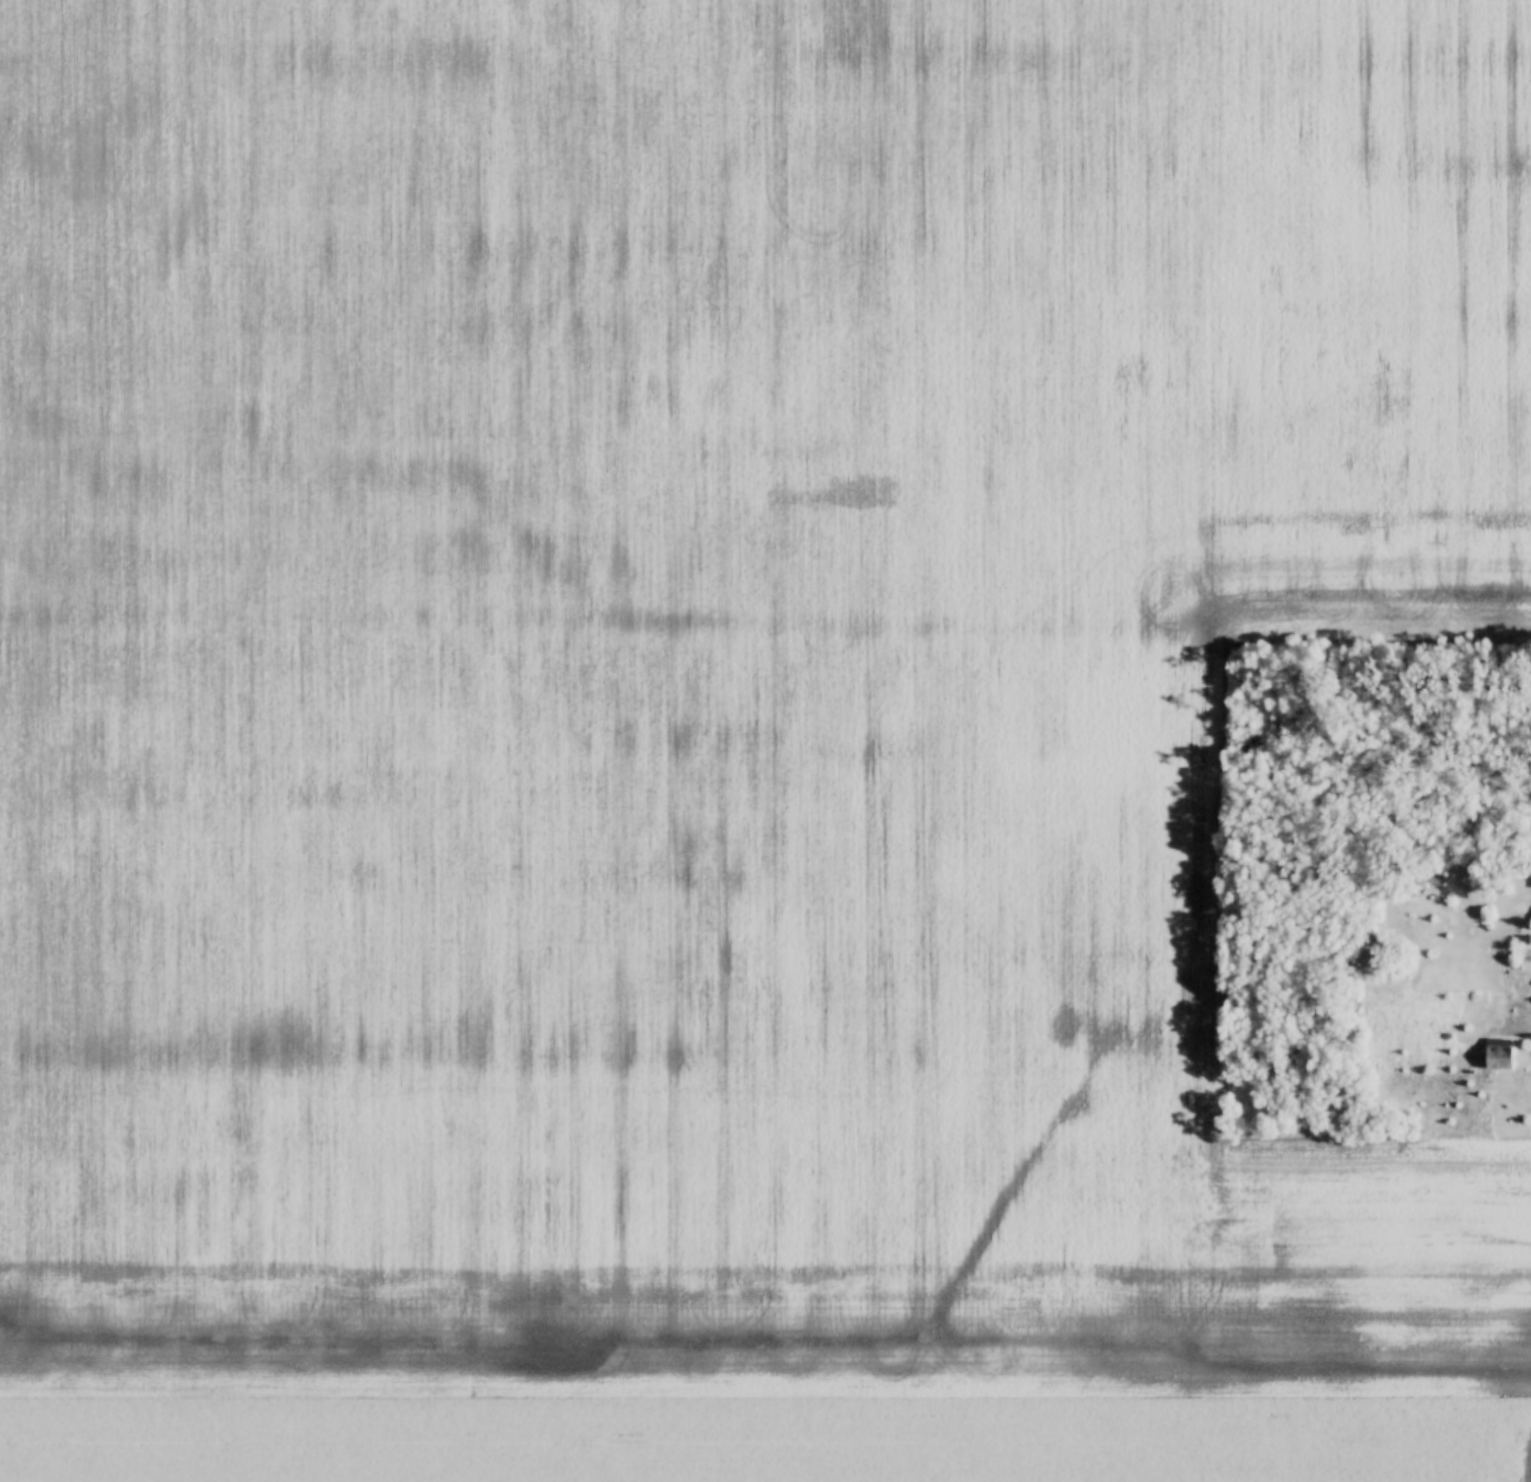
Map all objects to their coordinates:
building: (1499, 1054)

